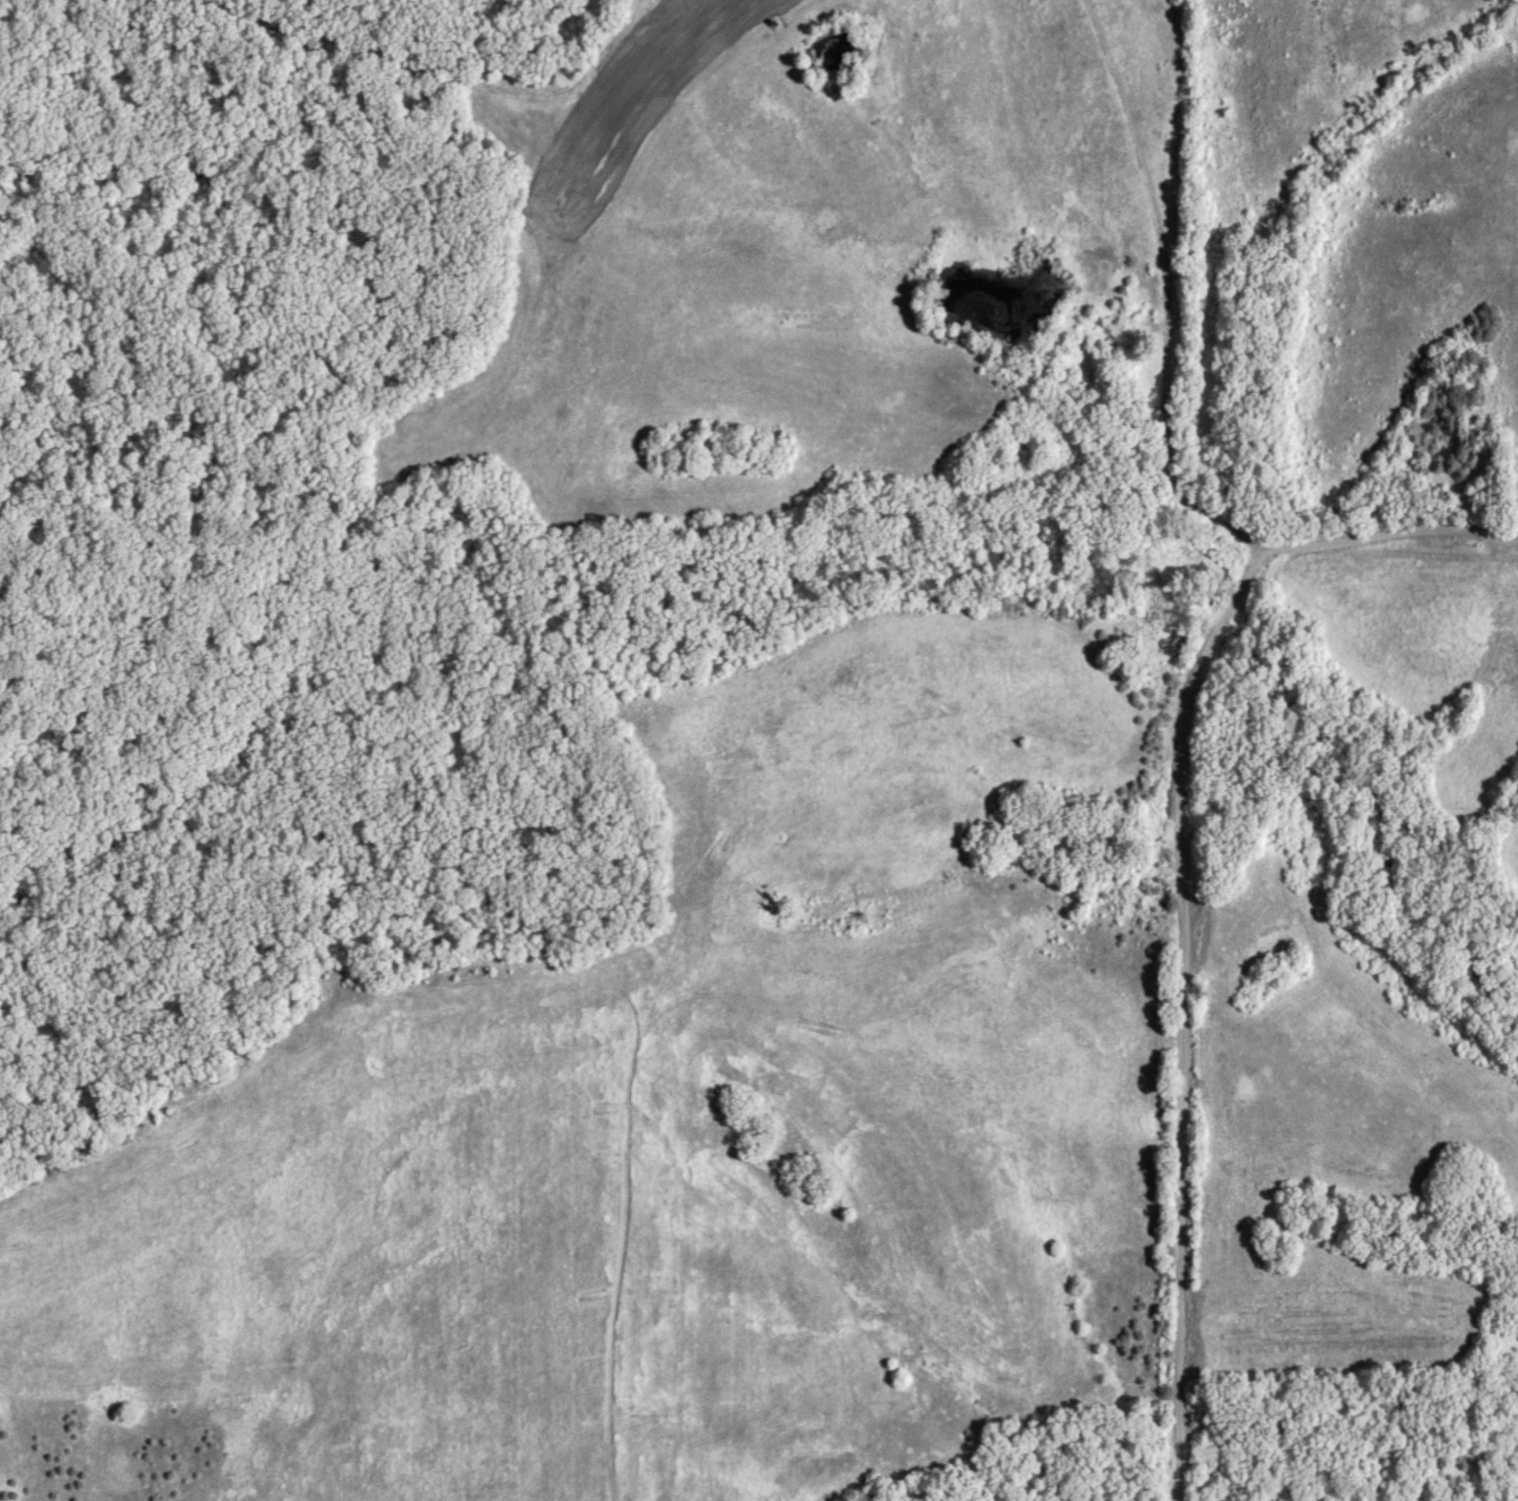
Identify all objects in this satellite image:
road: (1282, 547)
road: (1179, 1126)

